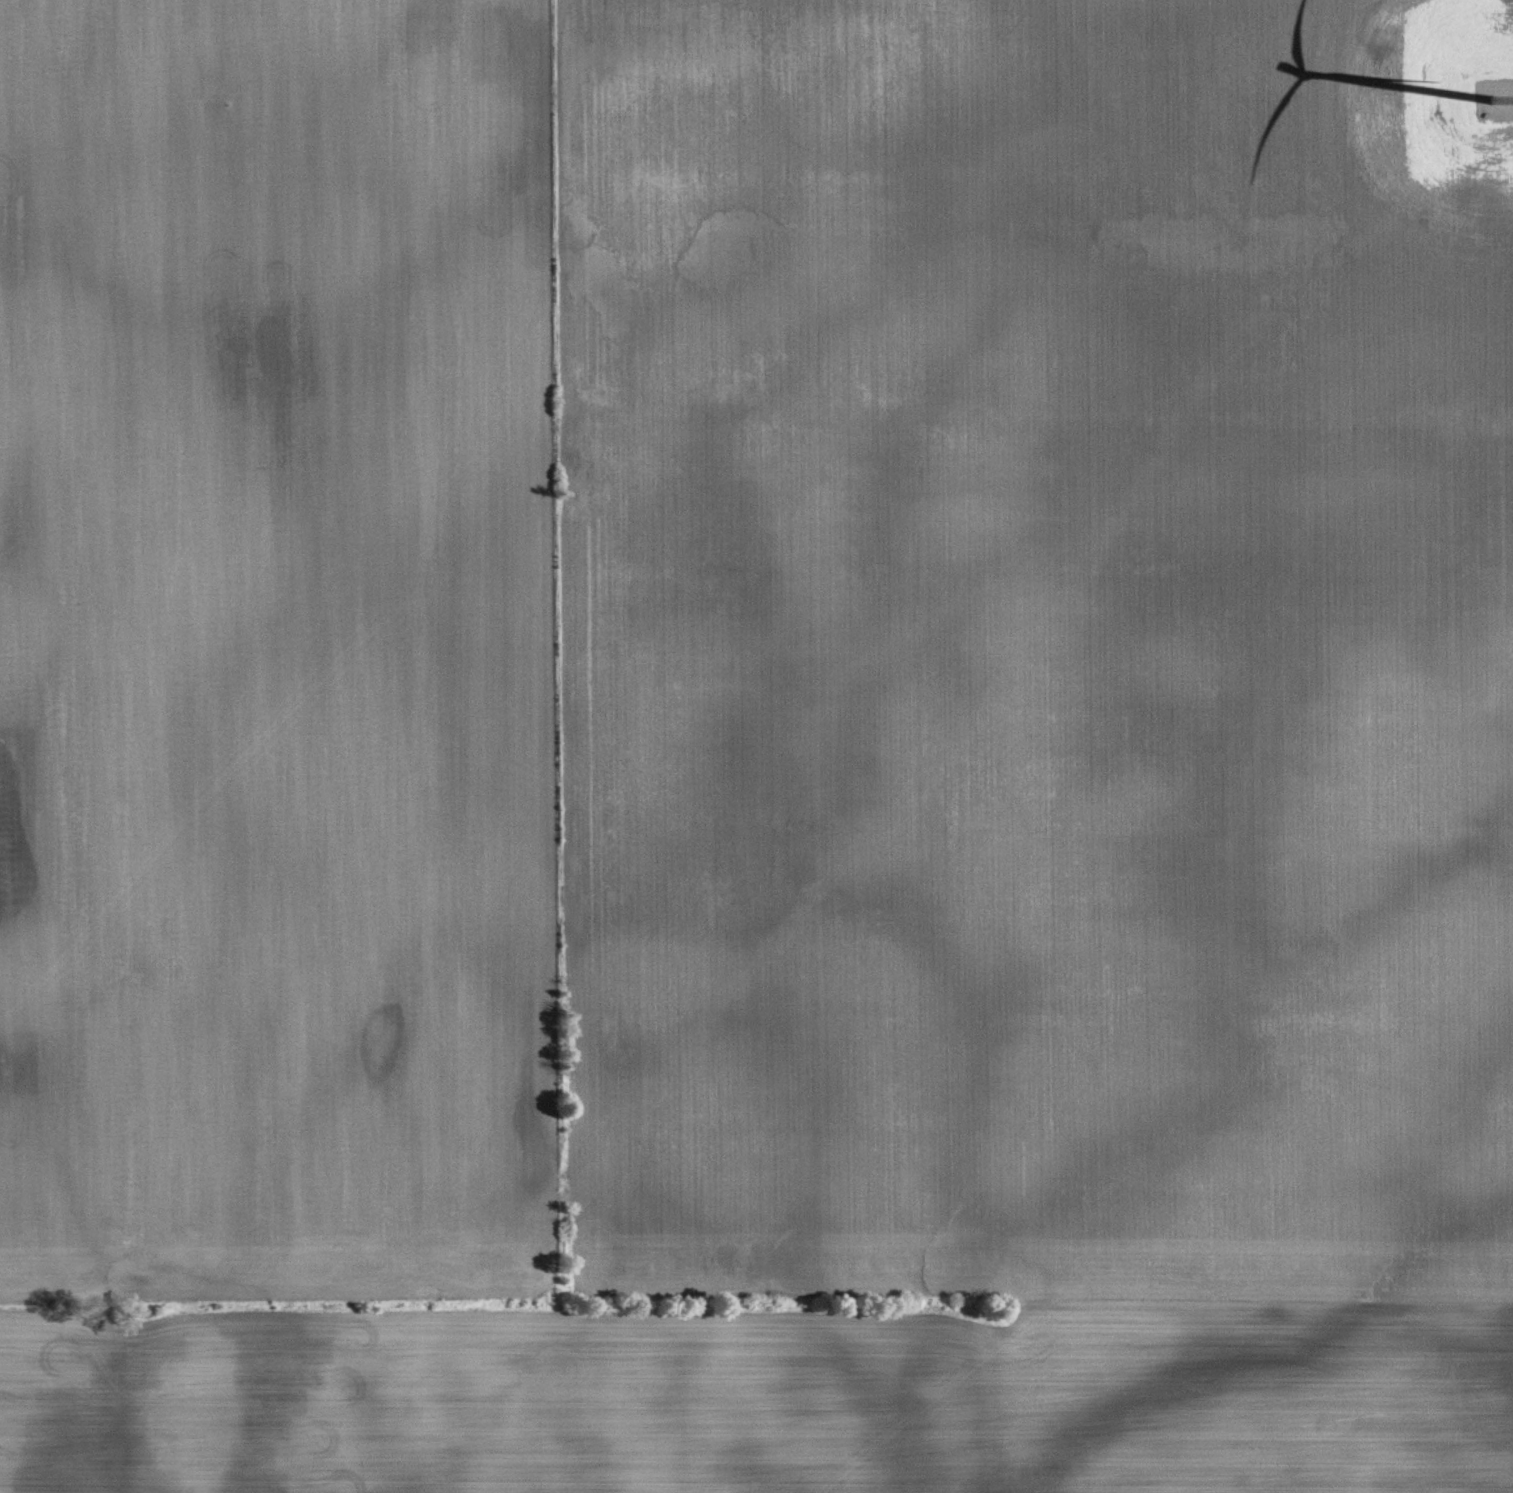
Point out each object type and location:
wind turbine: (1491, 96)

